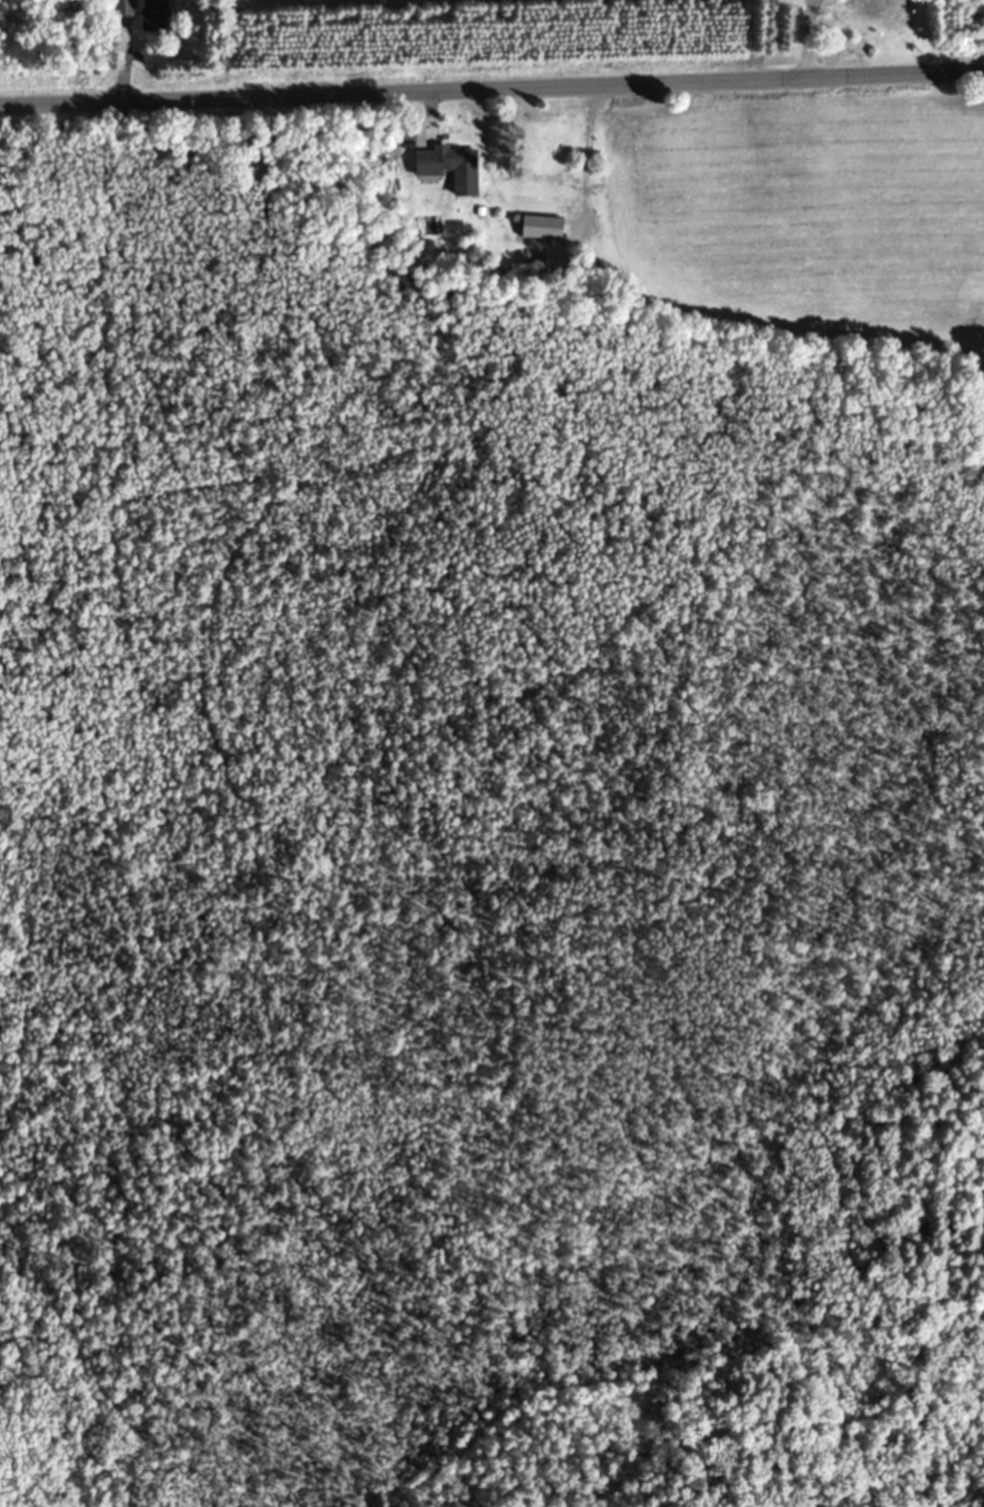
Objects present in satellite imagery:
building: (872, 8)
building: (154, 16)
road: (492, 97)
building: (451, 168)
building: (542, 228)

